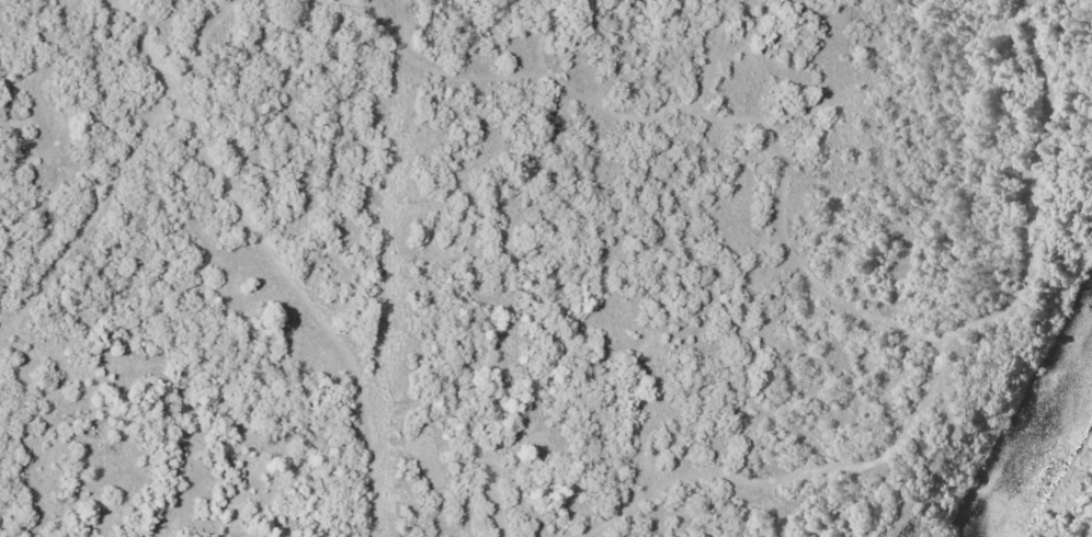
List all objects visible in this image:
river: (1040, 437)

